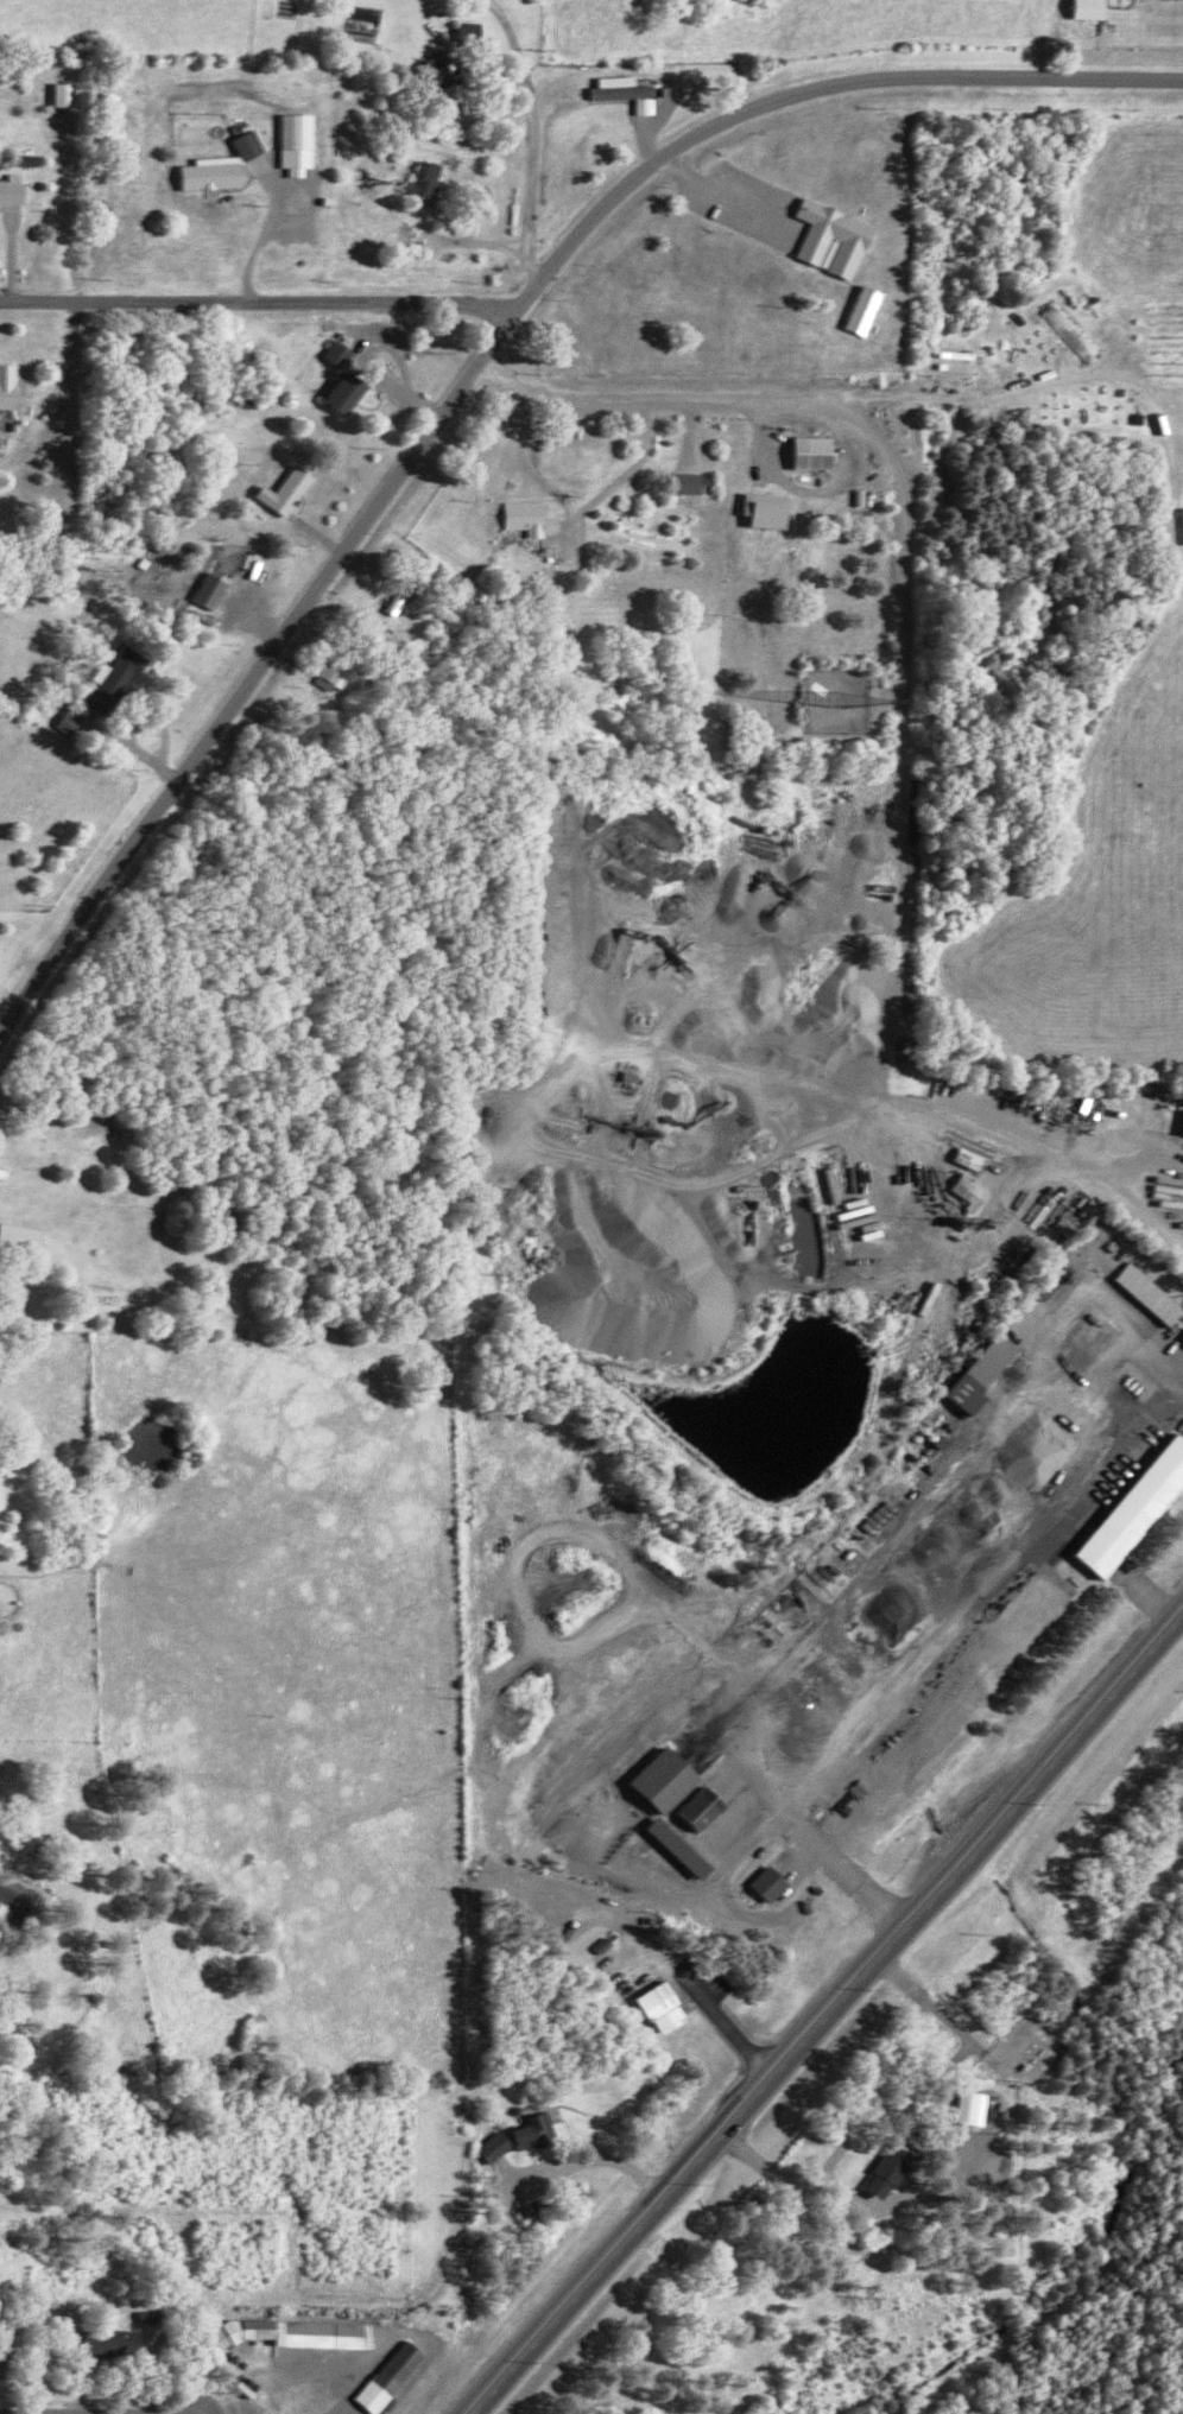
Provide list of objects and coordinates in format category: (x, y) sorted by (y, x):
building: (1093, 8)
building: (438, 72)
building: (70, 93)
road: (530, 137)
building: (302, 141)
building: (253, 144)
building: (216, 172)
building: (430, 178)
building: (15, 190)
road: (720, 199)
building: (837, 237)
road: (253, 300)
building: (871, 309)
building: (343, 353)
road: (476, 365)
building: (8, 385)
building: (350, 392)
road: (407, 399)
building: (817, 451)
building: (694, 482)
building: (292, 490)
building: (772, 509)
building: (533, 517)
building: (216, 590)
building: (405, 596)
building: (125, 670)
building: (334, 673)
road: (904, 717)
road: (139, 750)
quarry: (740, 1135)
building: (974, 1158)
building: (975, 1190)
building: (23, 1236)
building: (1154, 1293)
building: (986, 1374)
building: (1137, 1509)
building: (669, 1779)
building: (707, 1806)
building: (683, 1846)
building: (773, 1882)
road: (825, 2004)
building: (666, 2007)
building: (978, 2106)
building: (538, 2130)
building: (500, 2146)
building: (893, 2169)
building: (151, 2317)
building: (299, 2332)
building: (115, 2340)
building: (5, 2362)
building: (397, 2376)

